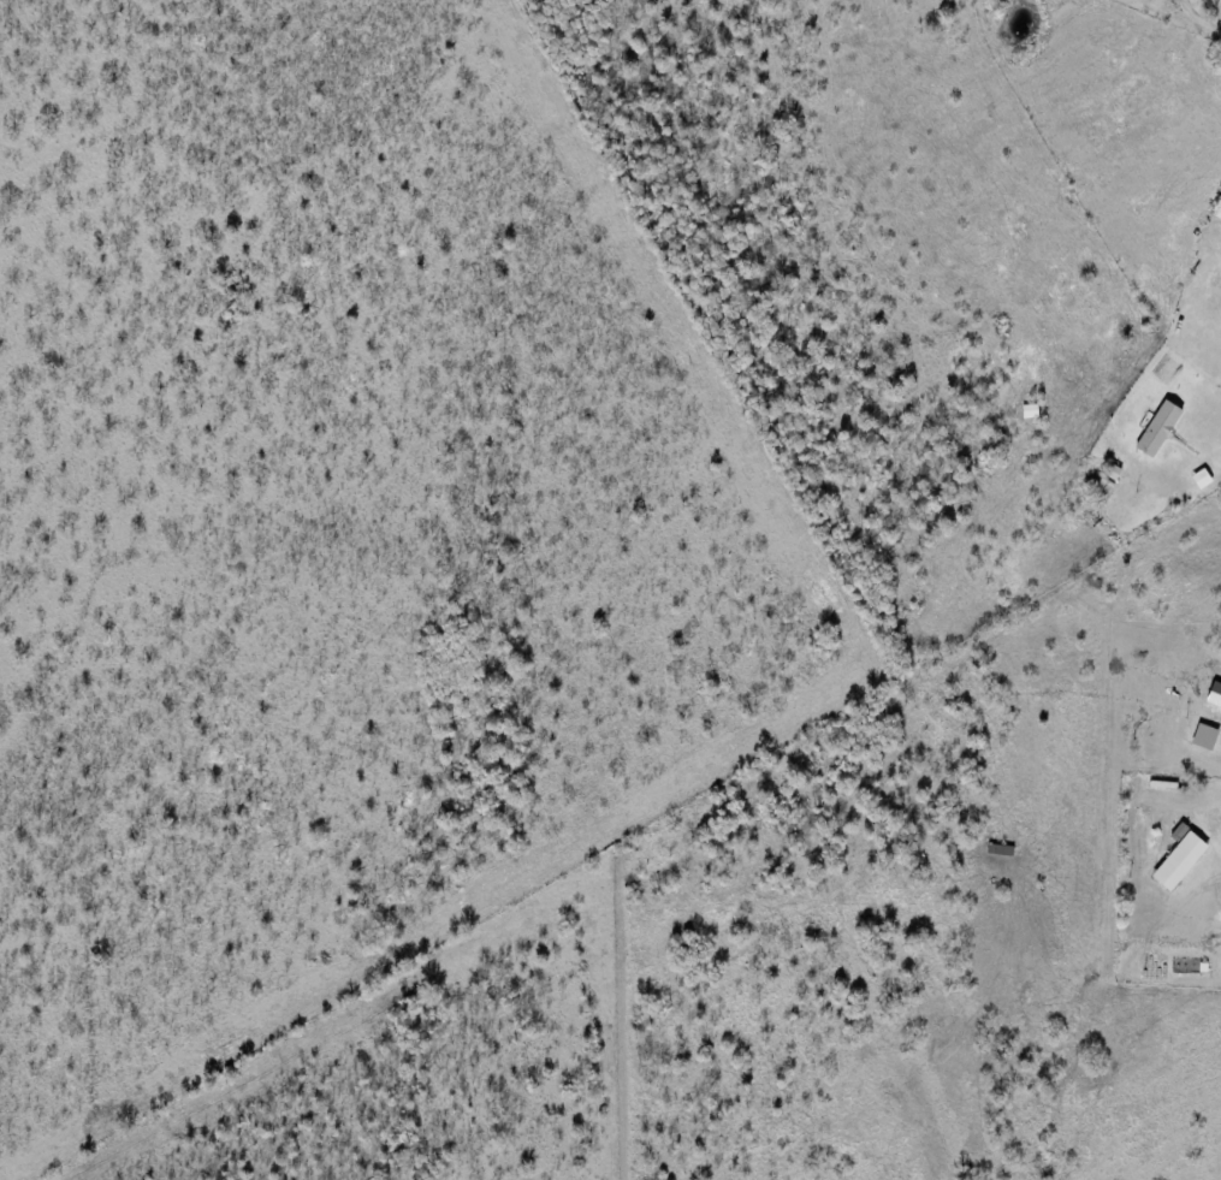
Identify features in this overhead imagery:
building: (1161, 431)
building: (1203, 479)
building: (1216, 694)
building: (1183, 856)

